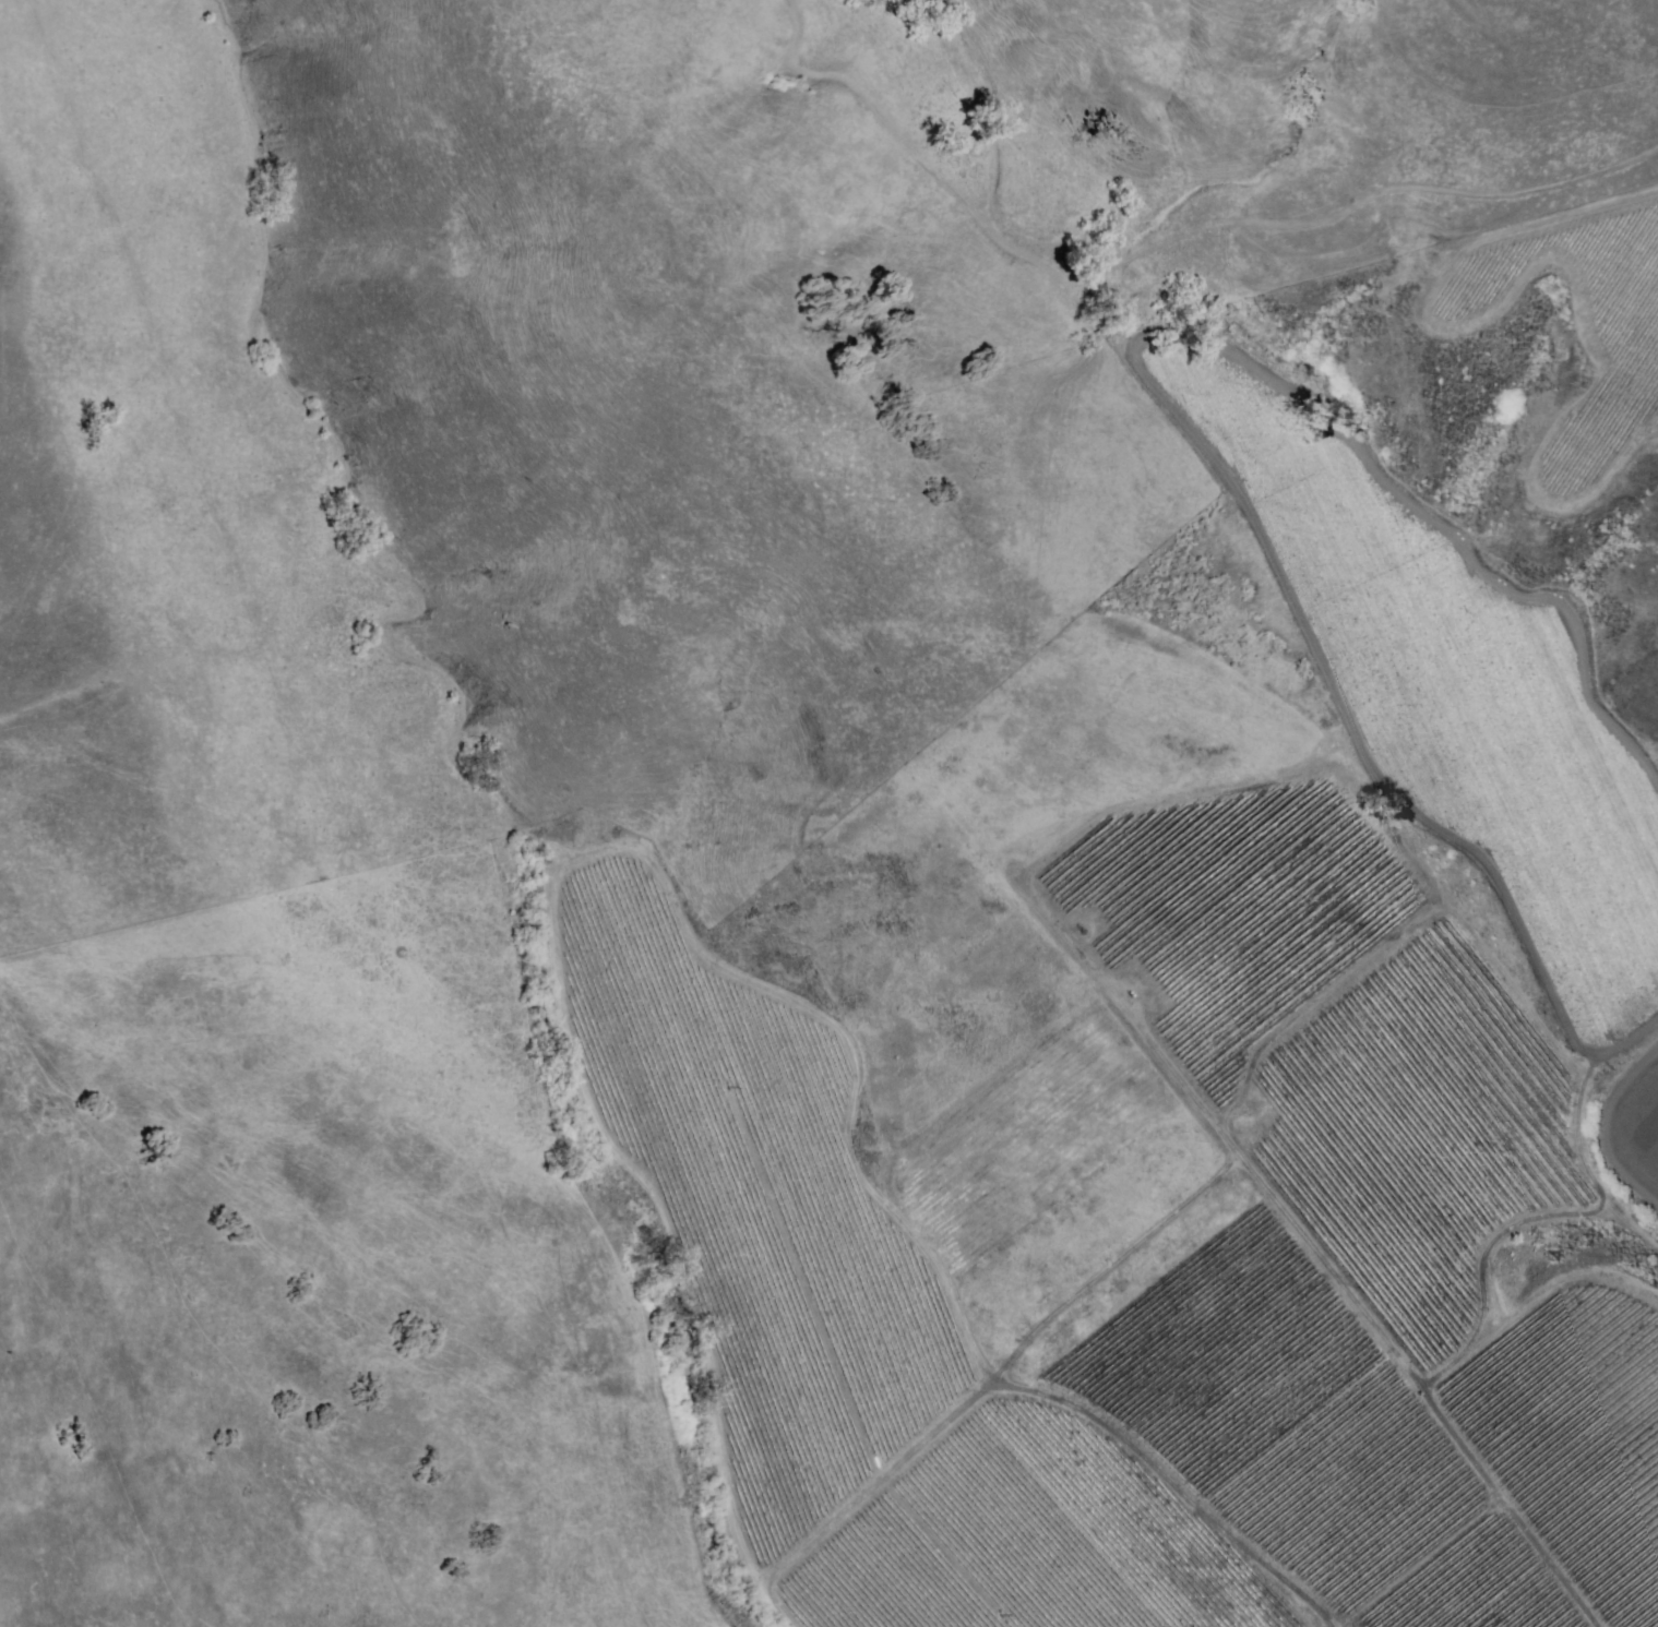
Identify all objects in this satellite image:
crop: (1454, 692)
crop: (1186, 1032)
crop: (1641, 1127)
crop: (1579, 1440)
crop: (1385, 1517)

